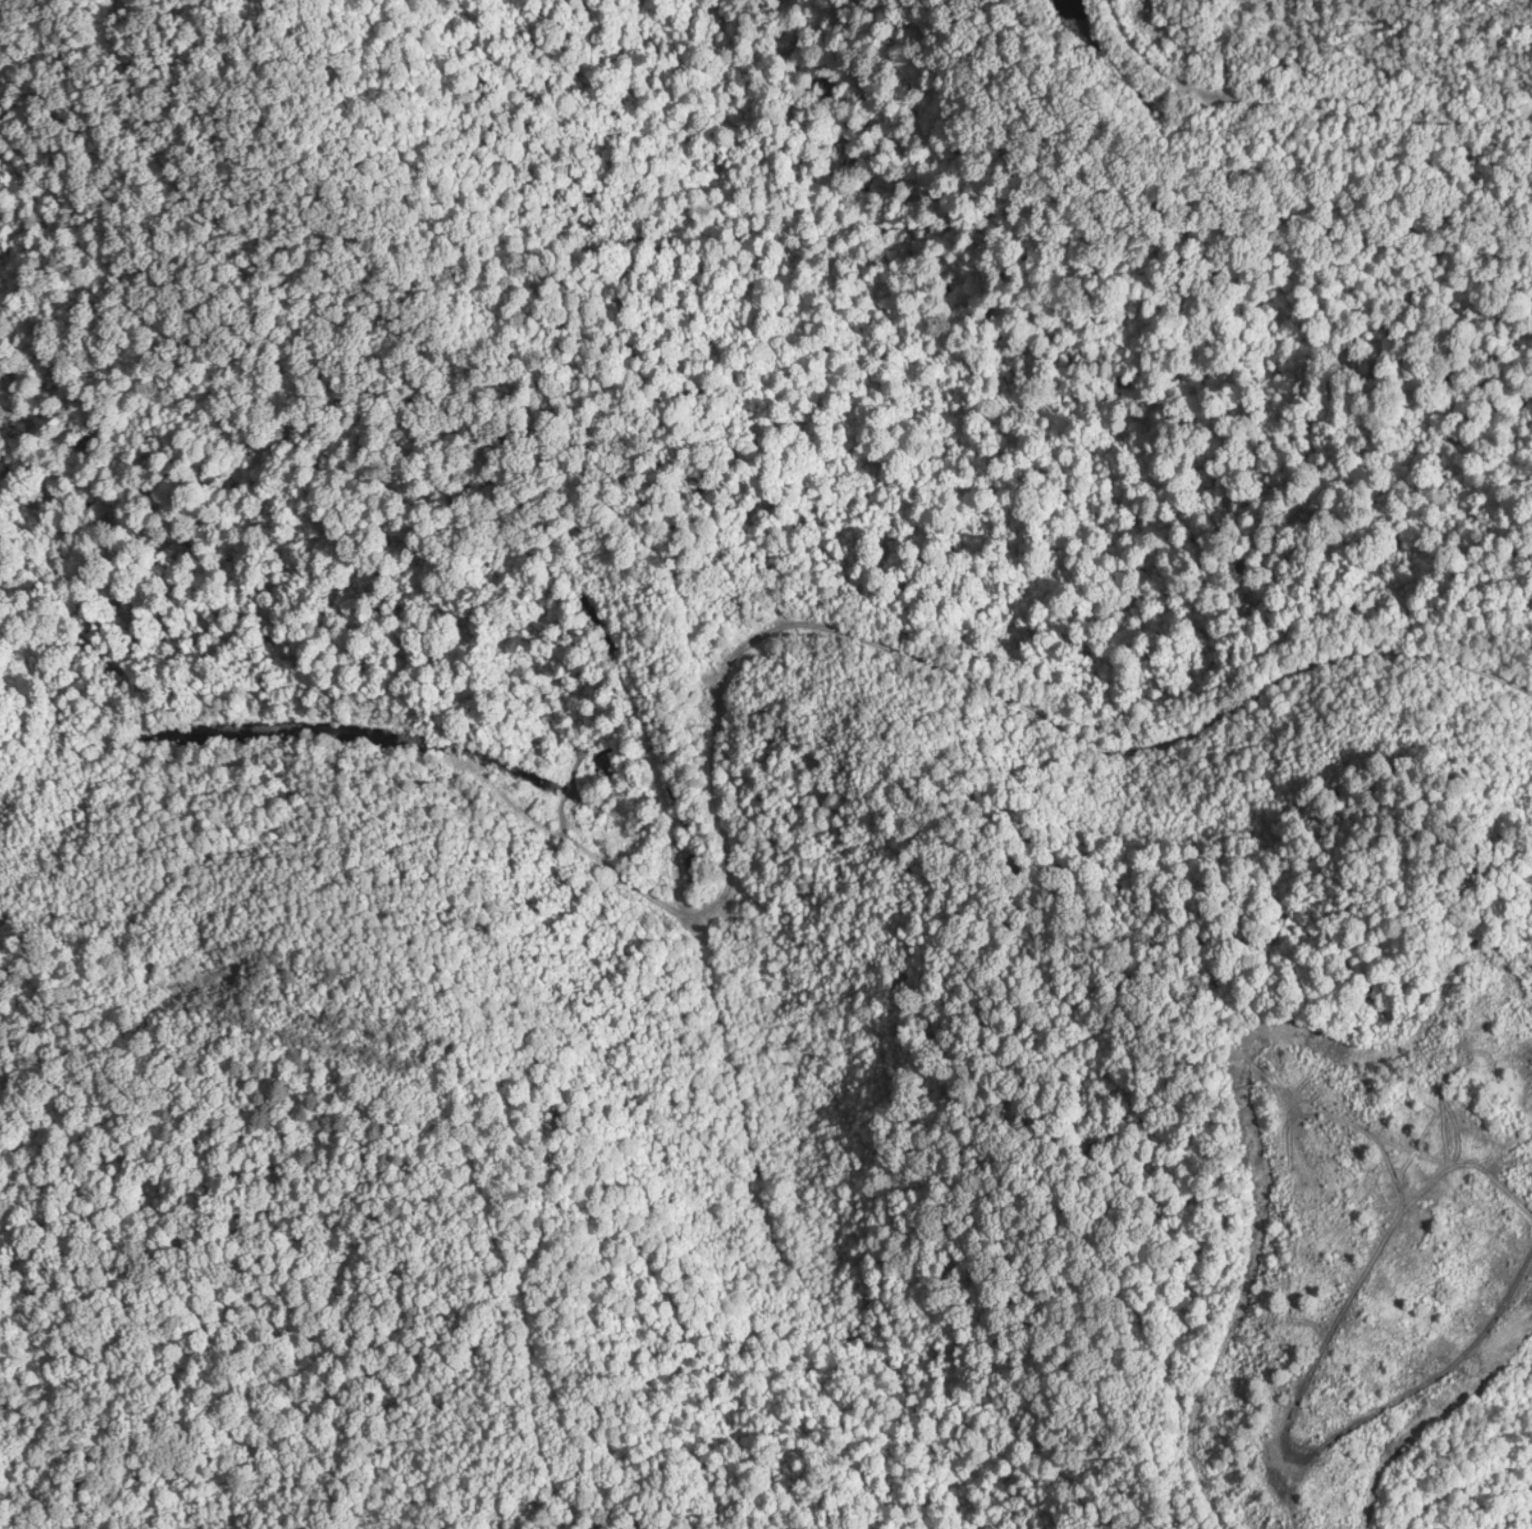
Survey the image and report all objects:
road: (1298, 98)

